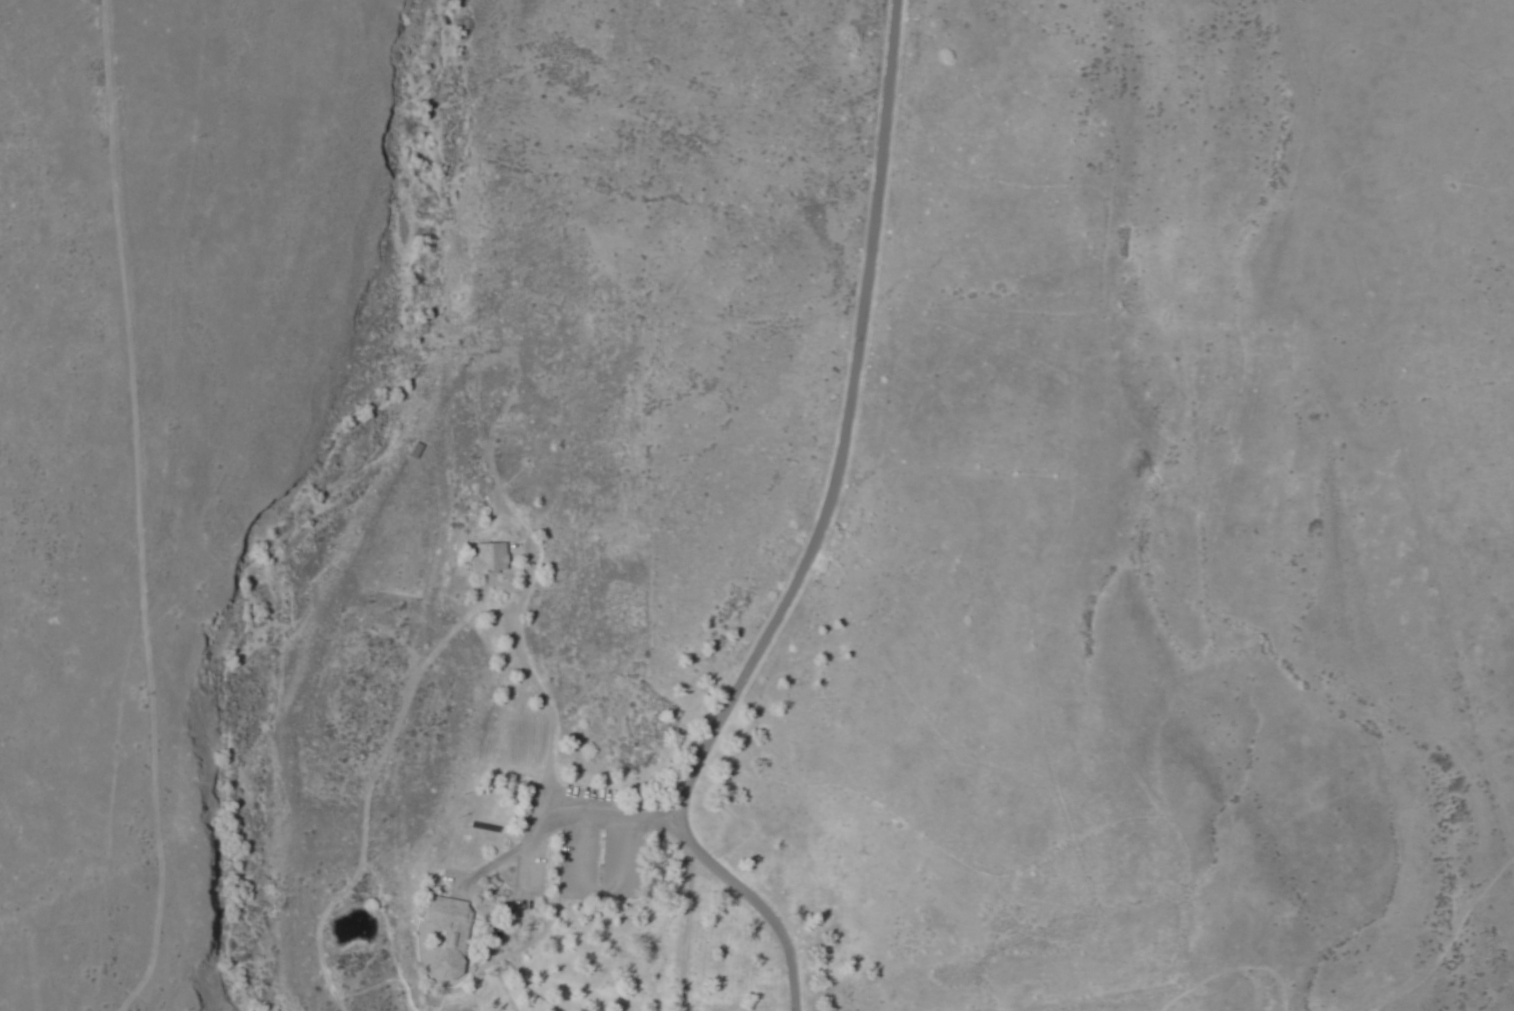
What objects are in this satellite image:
building: (491, 558)
road: (765, 645)
road: (539, 685)
road: (369, 779)
parking lot: (580, 848)
road: (760, 903)
road: (552, 917)
building: (450, 933)
road: (526, 990)
road: (1132, 1002)

